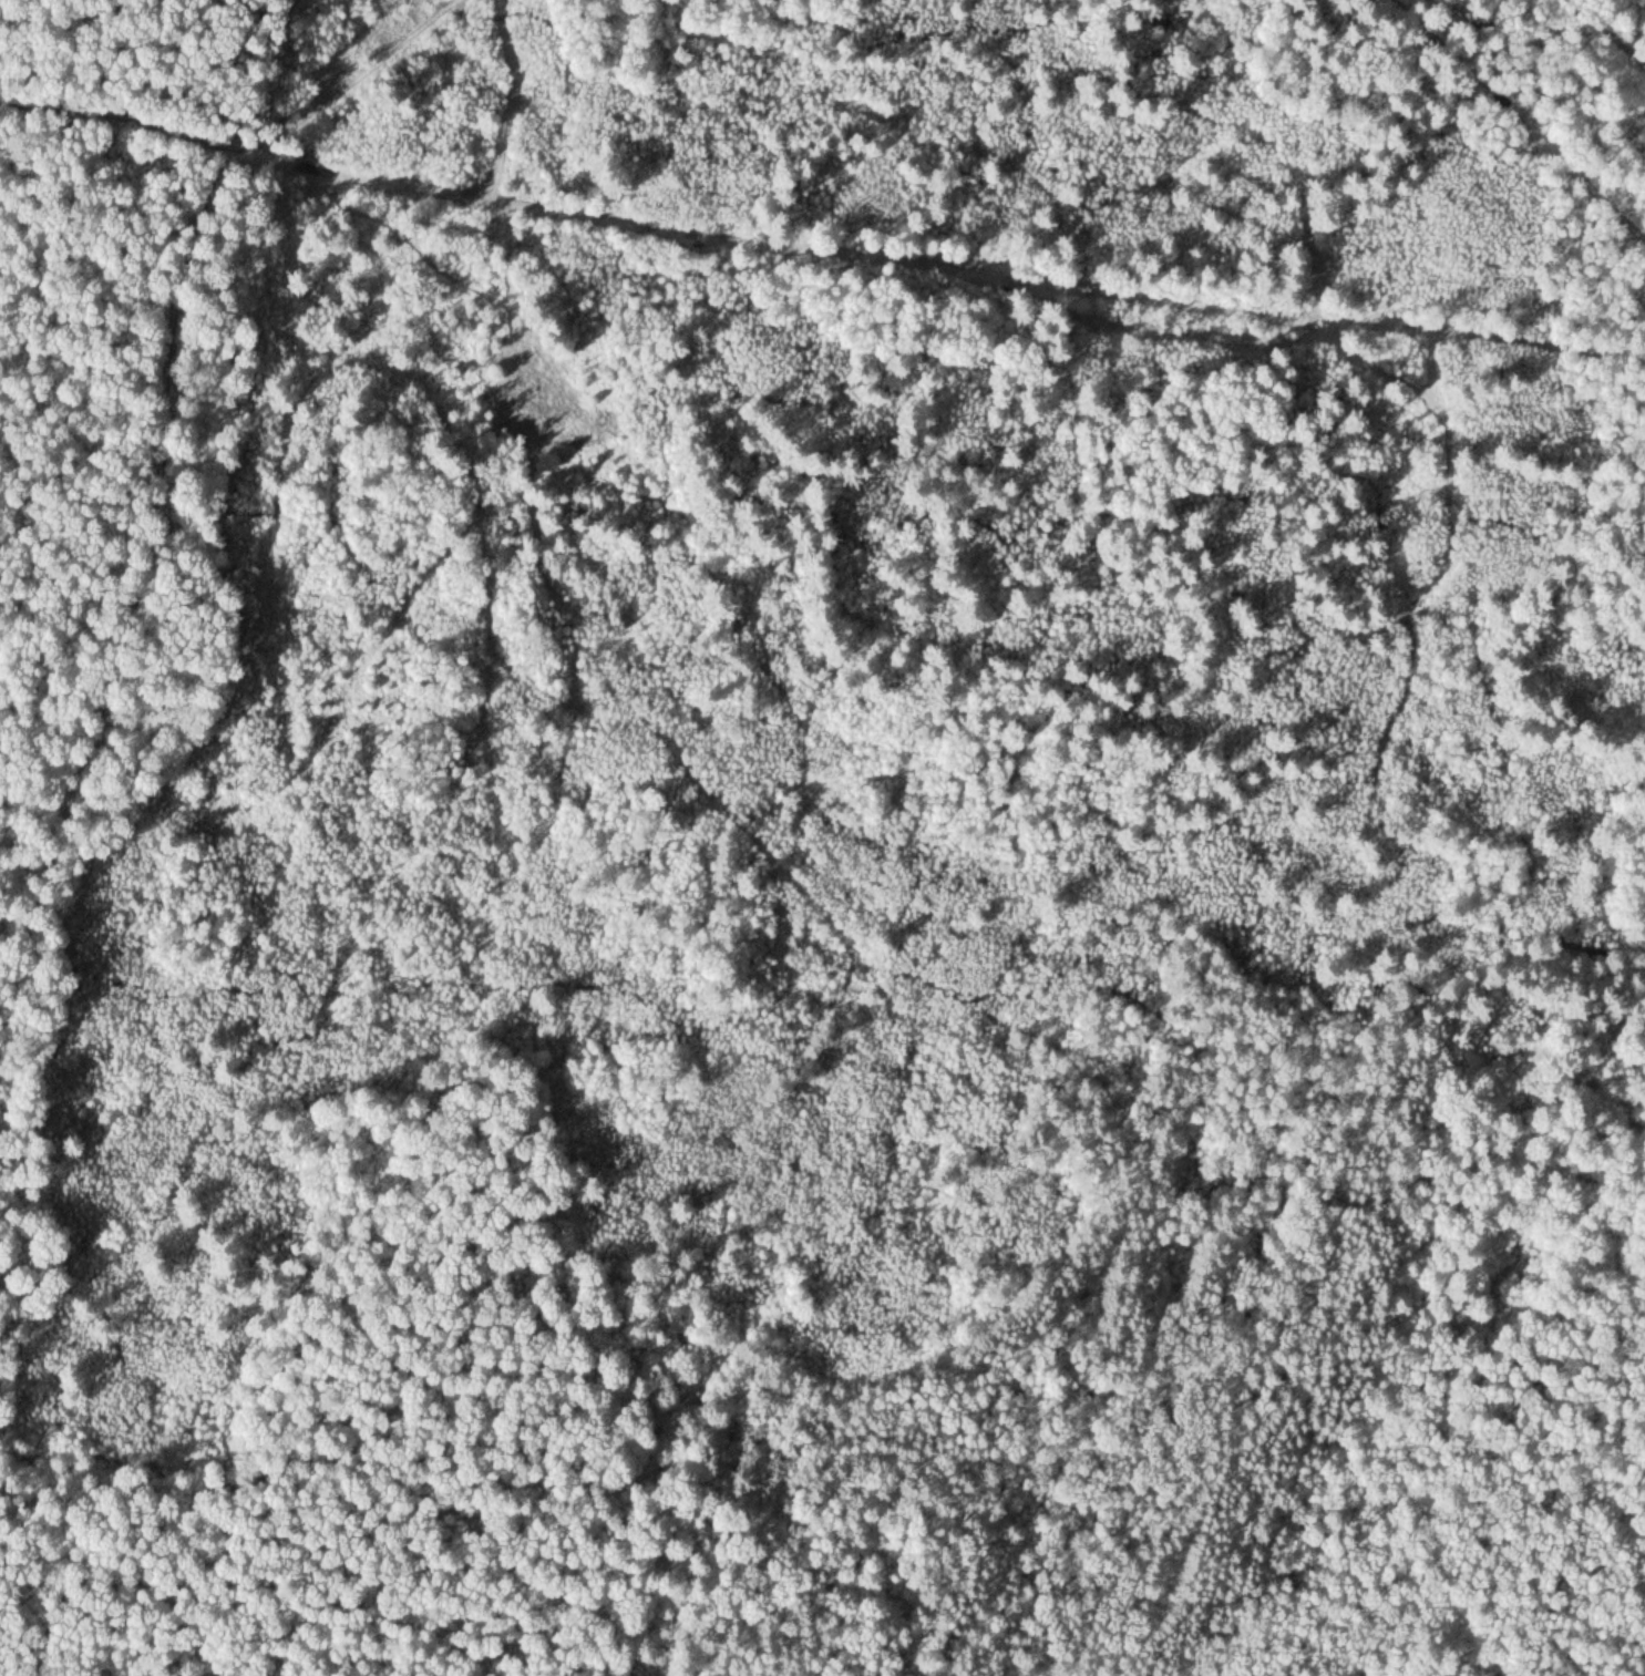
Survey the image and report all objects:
road: (359, 76)
road: (1522, 119)
road: (819, 245)

